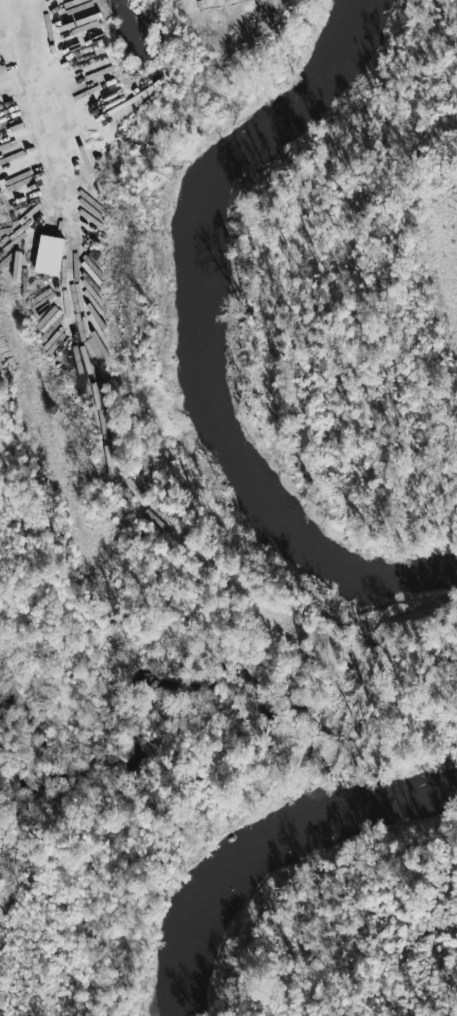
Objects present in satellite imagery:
road: (36, 109)
building: (46, 255)
river: (184, 346)
river: (265, 845)

